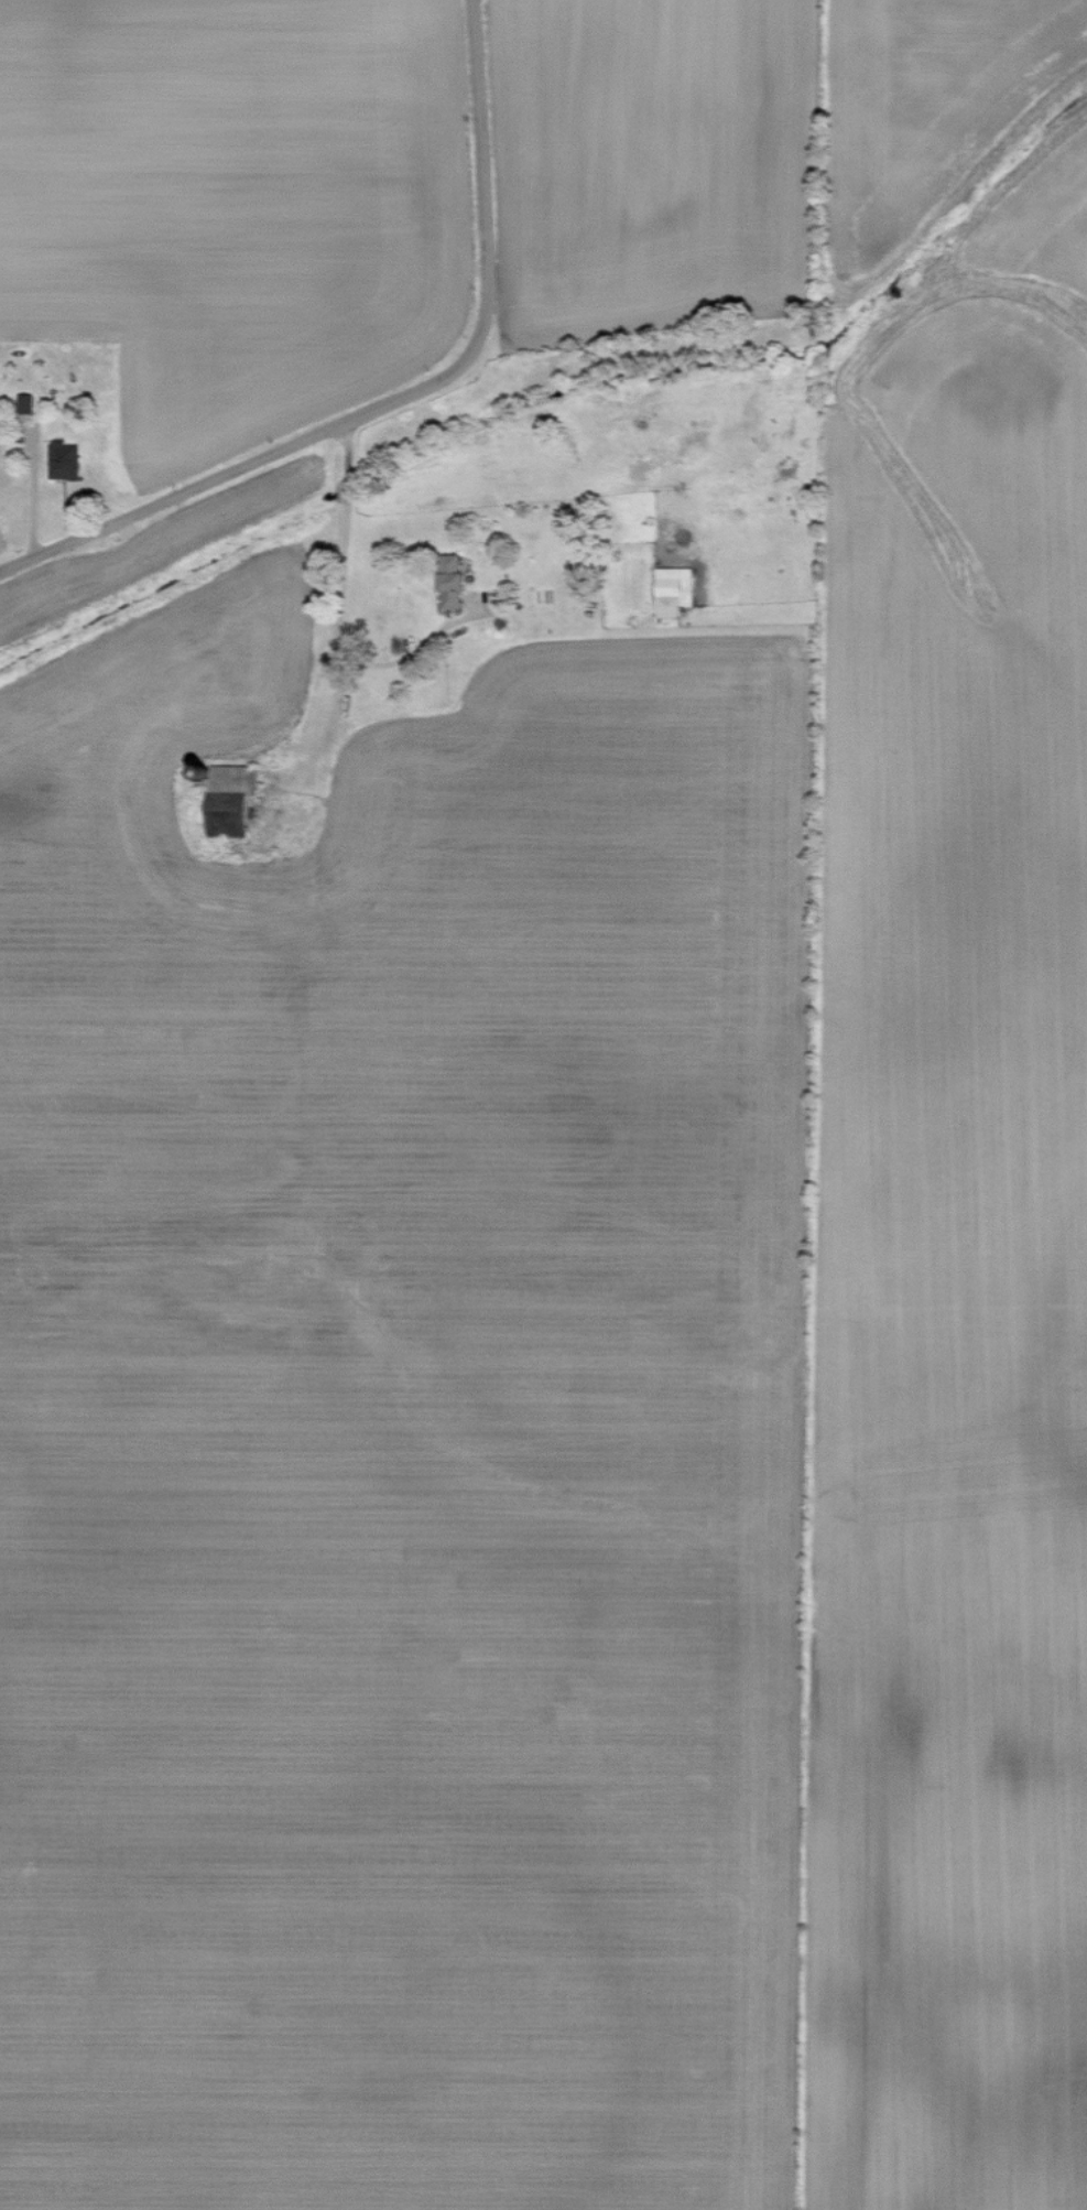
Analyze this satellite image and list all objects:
road: (404, 398)
building: (23, 402)
building: (61, 461)
building: (446, 581)
building: (671, 589)
road: (338, 613)

